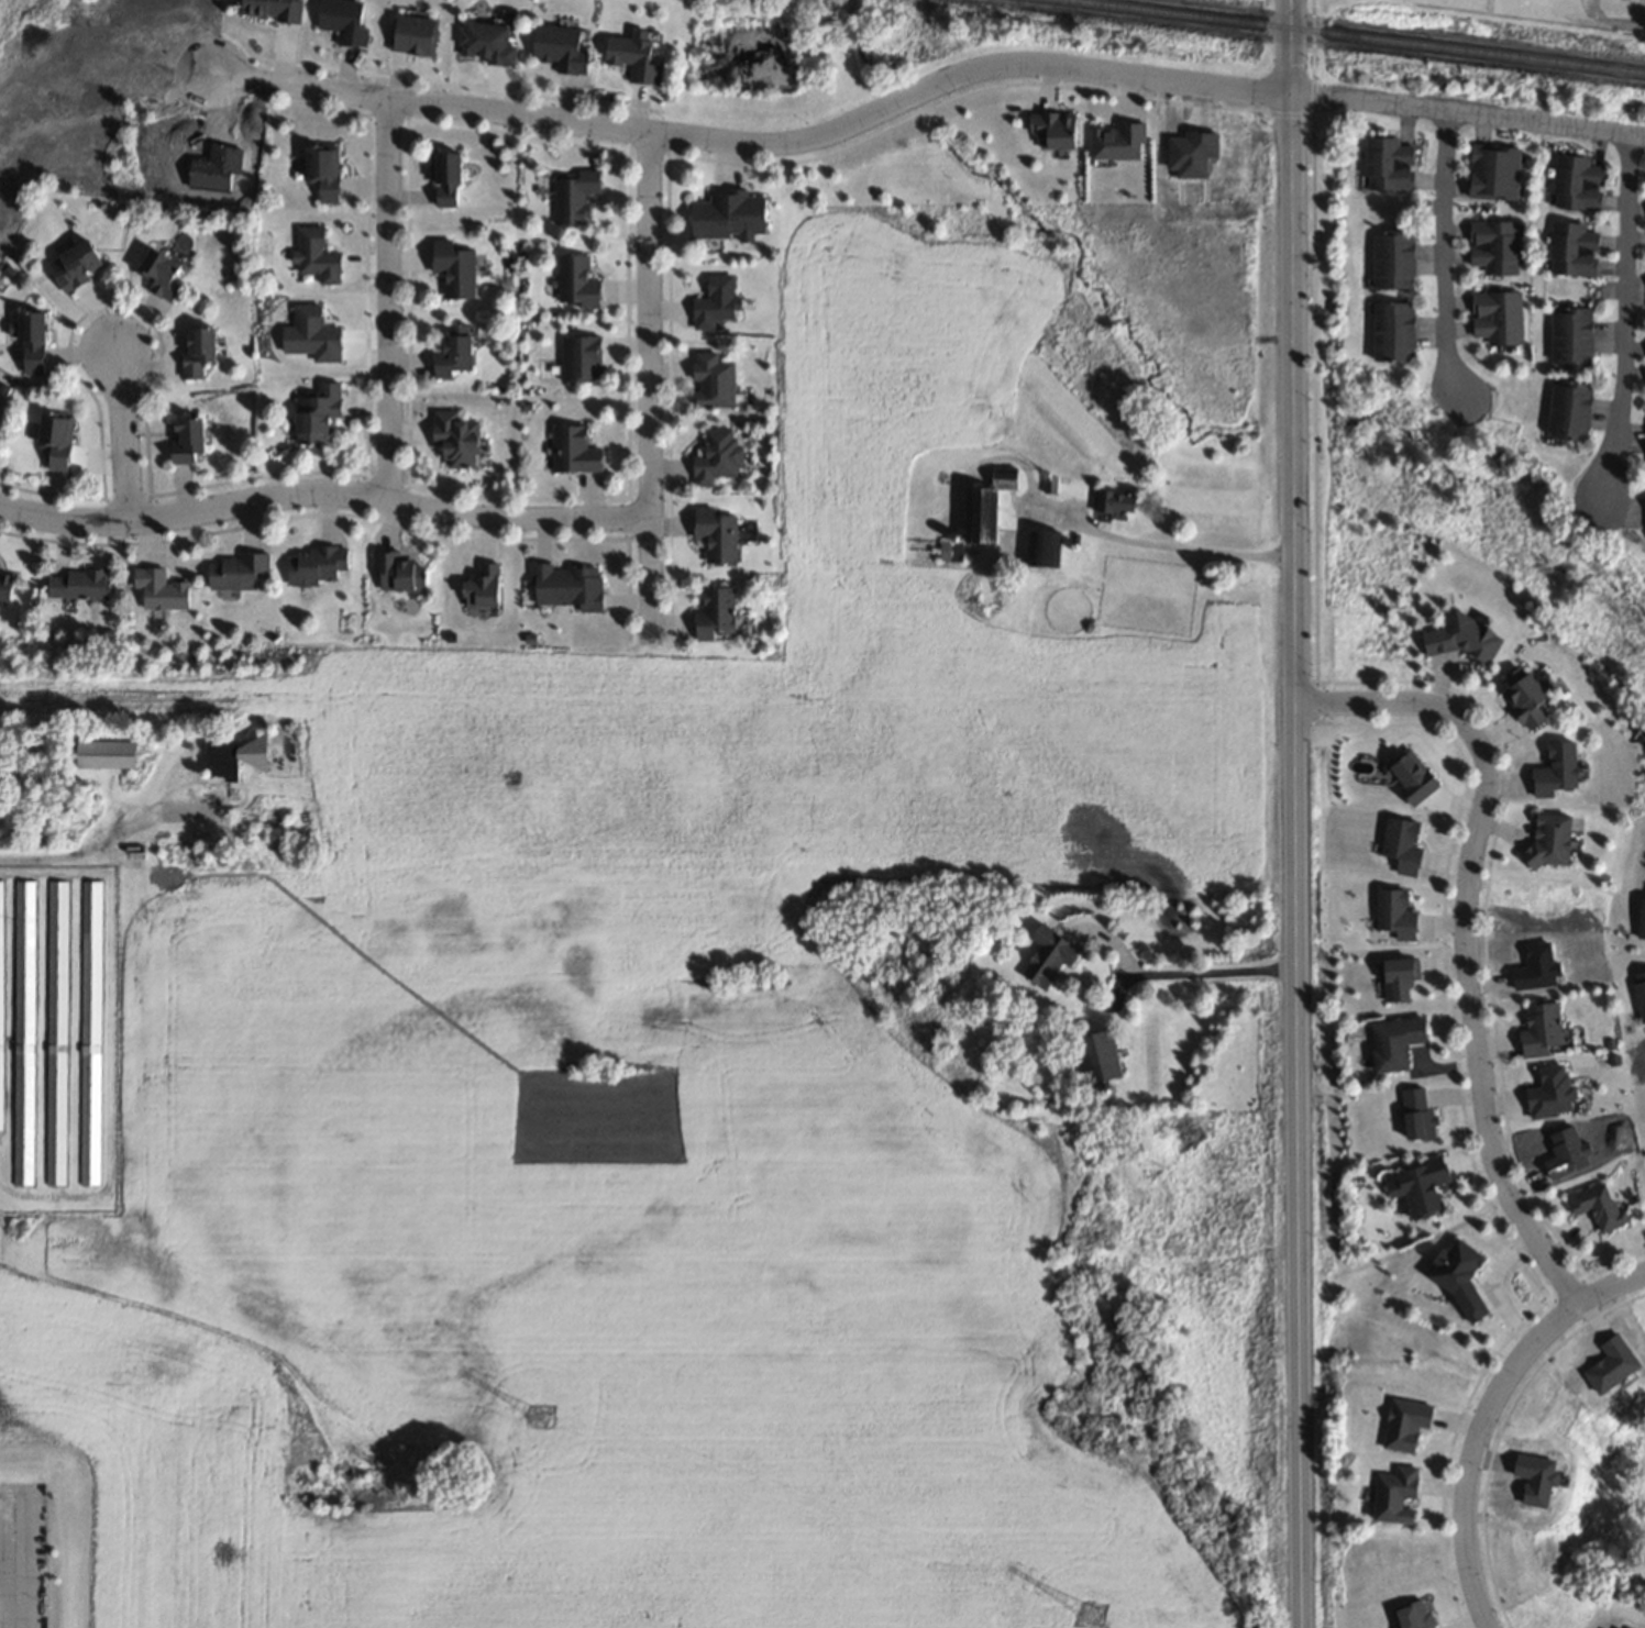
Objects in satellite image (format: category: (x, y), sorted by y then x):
building: (267, 9)
park: (1543, 12)
park: (1577, 12)
building: (341, 20)
building: (410, 35)
building: (483, 43)
building: (557, 47)
building: (631, 55)
road: (1468, 112)
building: (1047, 129)
building: (1113, 140)
road: (760, 143)
building: (1385, 163)
building: (319, 170)
building: (1491, 170)
building: (442, 178)
building: (1575, 181)
building: (573, 195)
building: (725, 215)
building: (1492, 246)
building: (1570, 247)
building: (312, 254)
road: (1445, 254)
building: (1390, 258)
building: (69, 263)
building: (450, 267)
building: (156, 273)
building: (573, 280)
road: (388, 297)
road: (1625, 314)
building: (1494, 317)
building: (1391, 331)
building: (1569, 336)
building: (29, 341)
building: (194, 350)
building: (452, 350)
building: (577, 357)
building: (709, 379)
road: (650, 390)
building: (1567, 409)
building: (311, 412)
building: (51, 438)
building: (183, 438)
road: (122, 439)
building: (452, 439)
building: (572, 450)
building: (714, 456)
road: (322, 491)
building: (1109, 505)
building: (974, 513)
building: (713, 533)
building: (316, 565)
building: (234, 571)
building: (396, 571)
building: (76, 584)
building: (565, 585)
building: (5, 586)
building: (481, 586)
building: (157, 589)
building: (711, 613)
building: (1462, 638)
building: (1520, 697)
building: (102, 753)
building: (1553, 768)
building: (1409, 774)
road: (1296, 813)
building: (1547, 838)
building: (1400, 843)
building: (1392, 912)
building: (1640, 920)
road: (1465, 935)
building: (1044, 955)
building: (1394, 978)
building: (1537, 1028)
building: (22, 1031)
building: (55, 1031)
building: (89, 1031)
building: (1392, 1041)
building: (1092, 1055)
building: (1416, 1185)
building: (1593, 1205)
power tower: (10, 1228)
building: (1455, 1276)
power tower: (534, 1415)
road: (1484, 1415)
building: (1391, 1494)
road: (4, 1585)
power tower: (1085, 1612)

